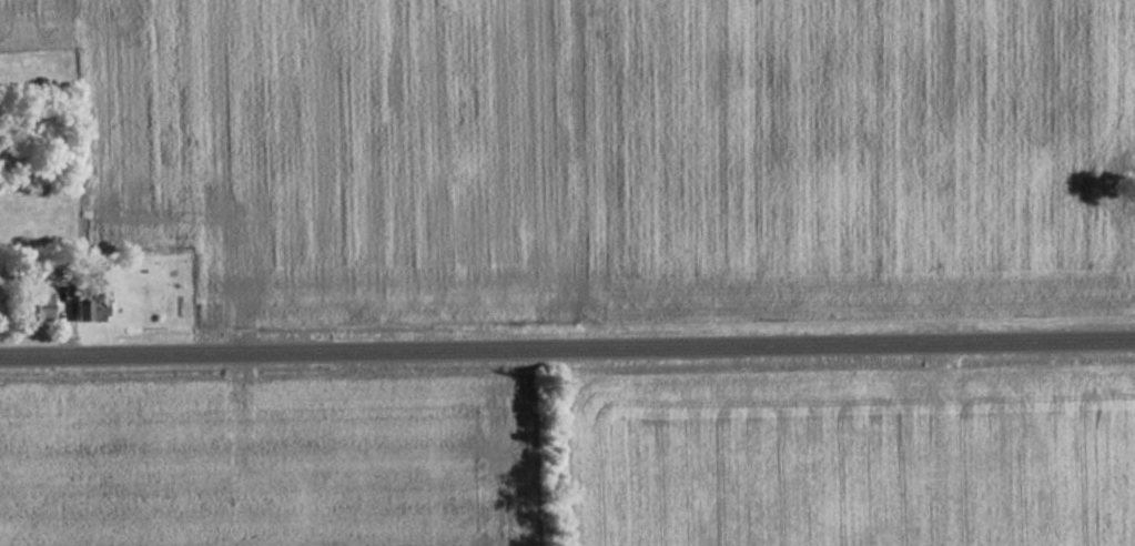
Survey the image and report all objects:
crop: (1126, 148)
crop: (326, 152)
crop: (843, 158)
road: (567, 348)
crop: (852, 463)
crop: (256, 465)

